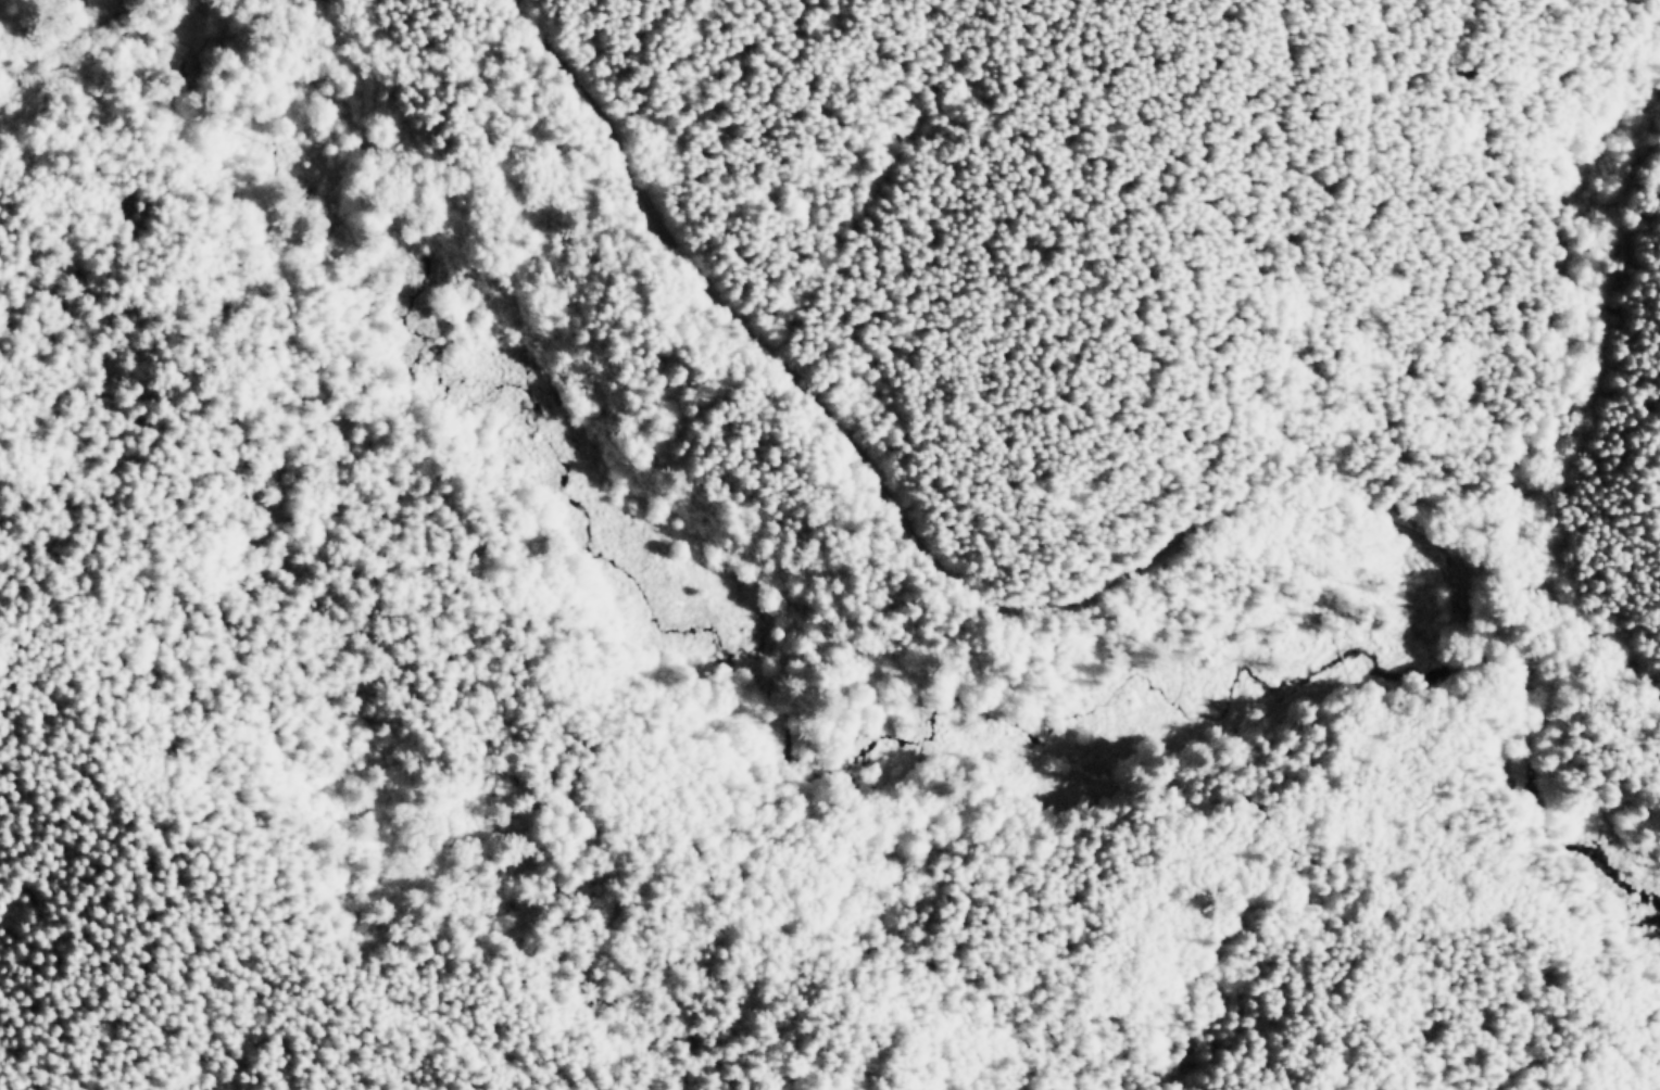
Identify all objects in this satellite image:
road: (1003, 538)

